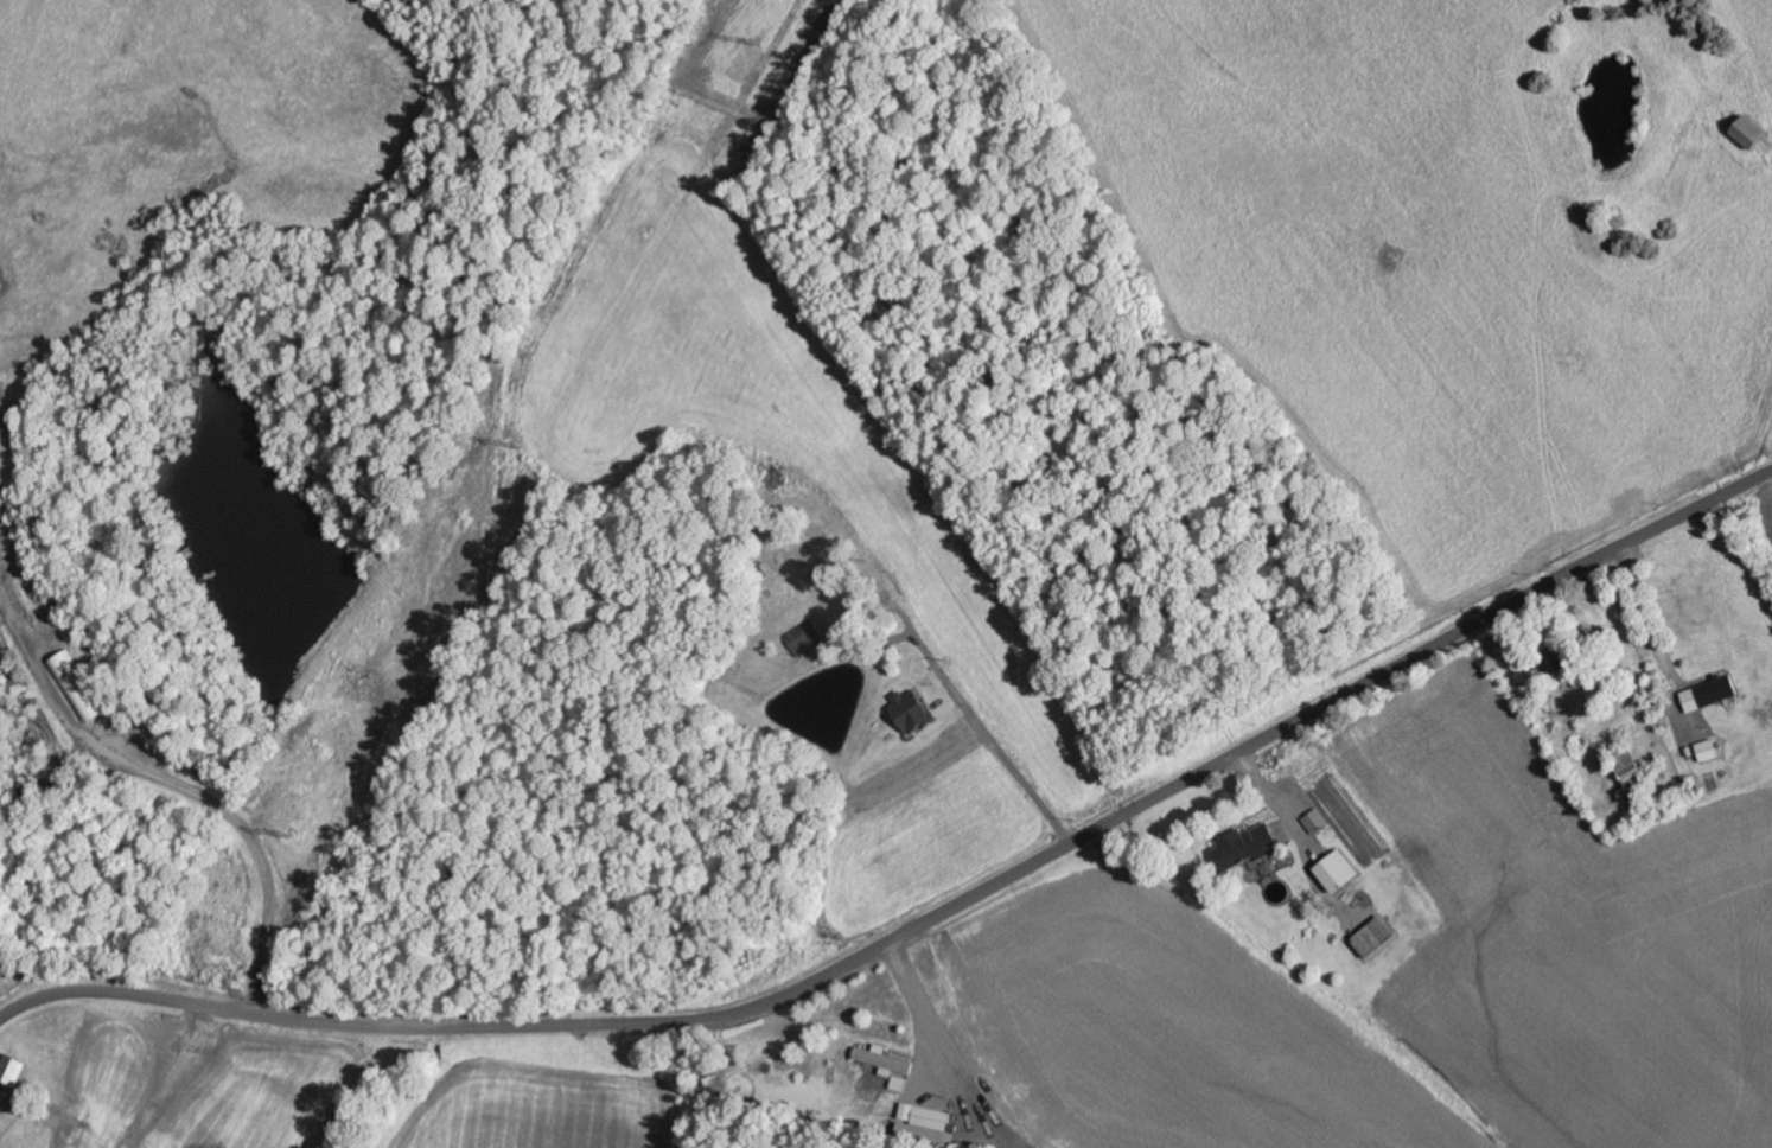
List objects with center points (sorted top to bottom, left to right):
building: (1751, 134)
building: (805, 639)
building: (1561, 662)
building: (81, 687)
building: (1720, 691)
building: (913, 712)
building: (1710, 752)
building: (1631, 773)
building: (1318, 822)
road: (1088, 835)
building: (1245, 848)
building: (1339, 873)
building: (1377, 939)
building: (885, 1060)
building: (14, 1071)
building: (928, 1118)

